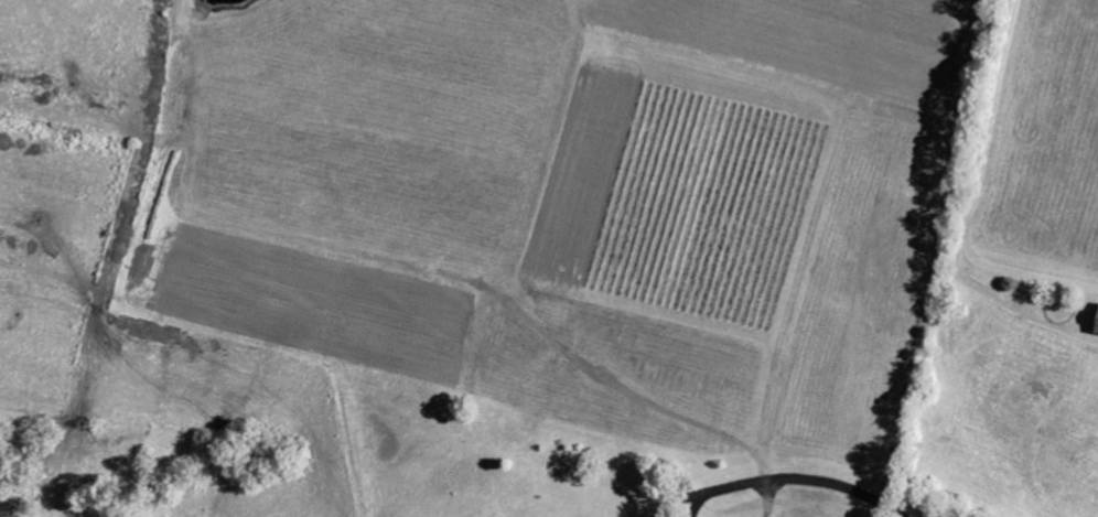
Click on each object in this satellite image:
road: (801, 483)
road: (773, 499)
road: (676, 502)
road: (692, 506)

